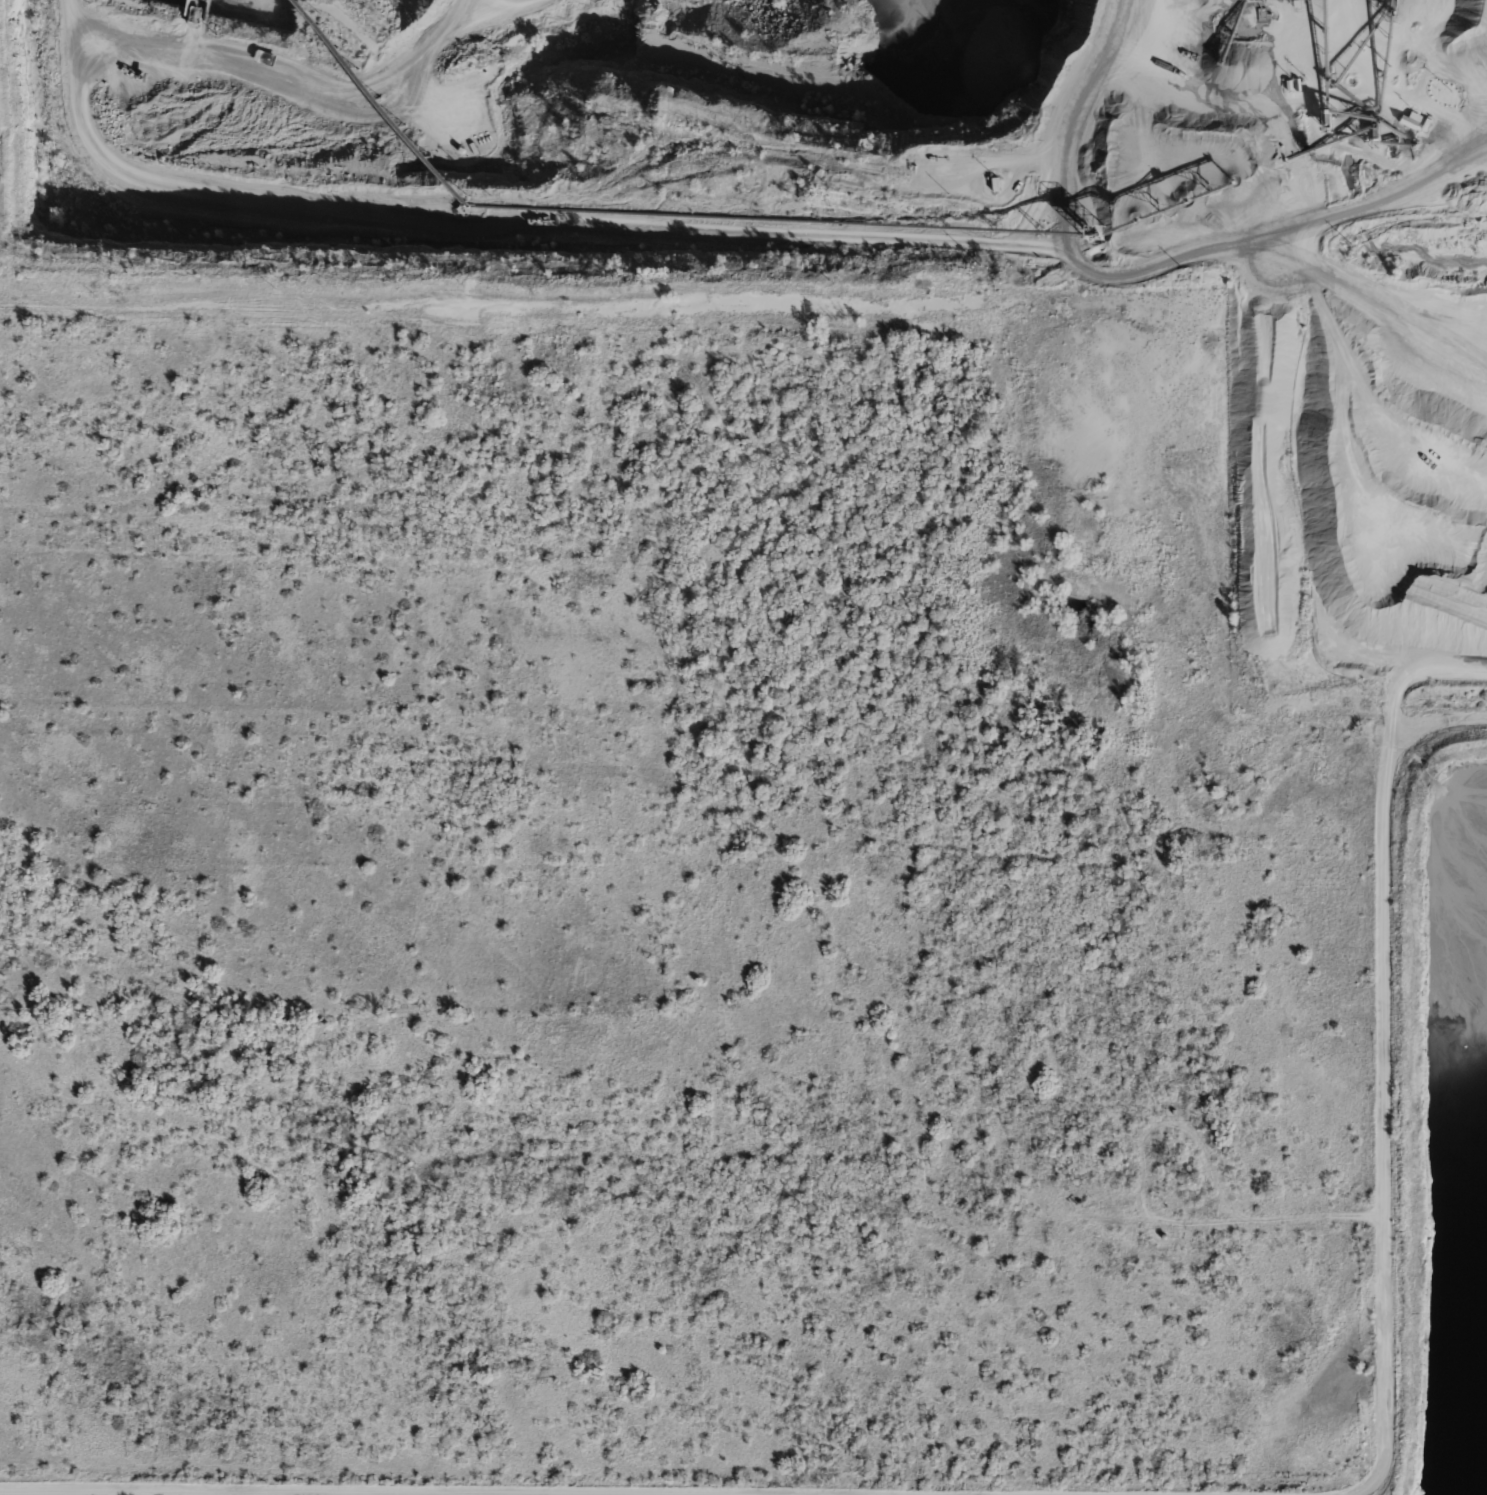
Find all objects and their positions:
quarry: (903, 257)
road: (1382, 1070)
quarry: (1448, 1123)
road: (390, 1491)

